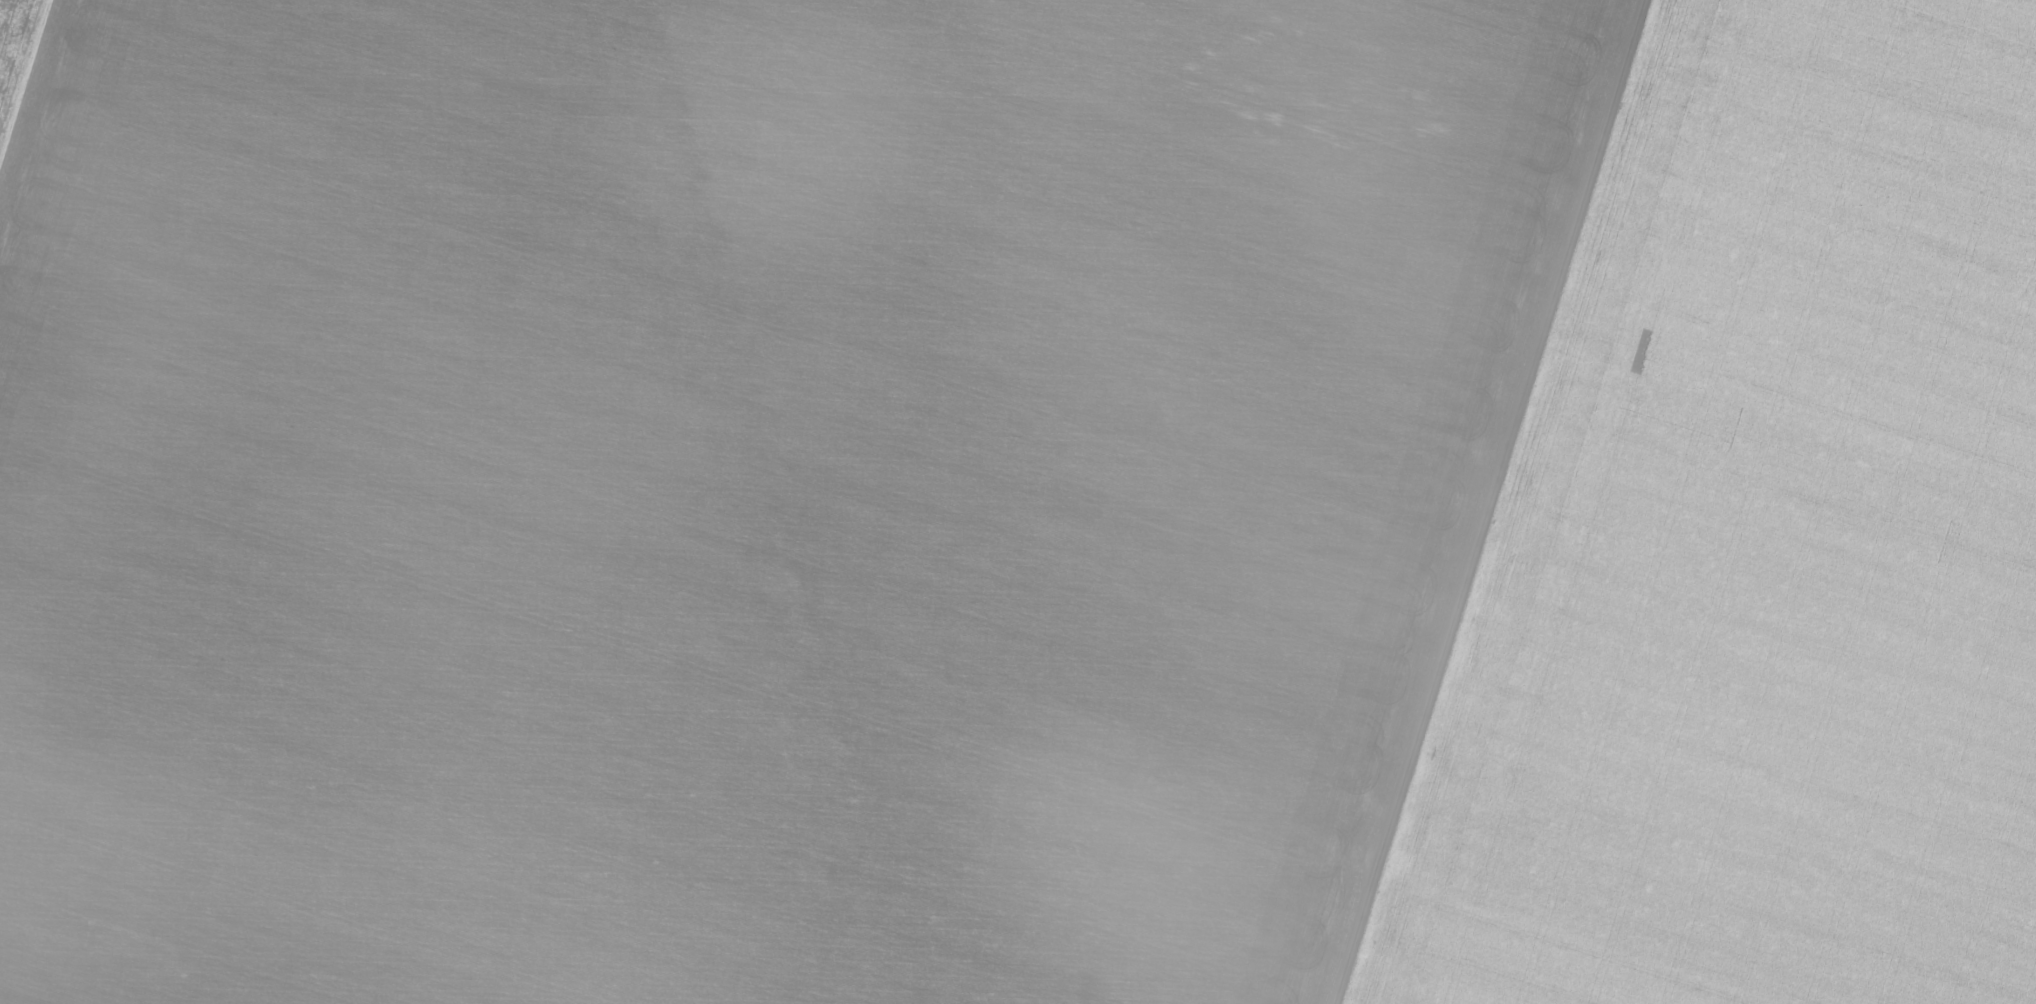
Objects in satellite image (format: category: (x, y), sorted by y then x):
road: (1486, 502)

